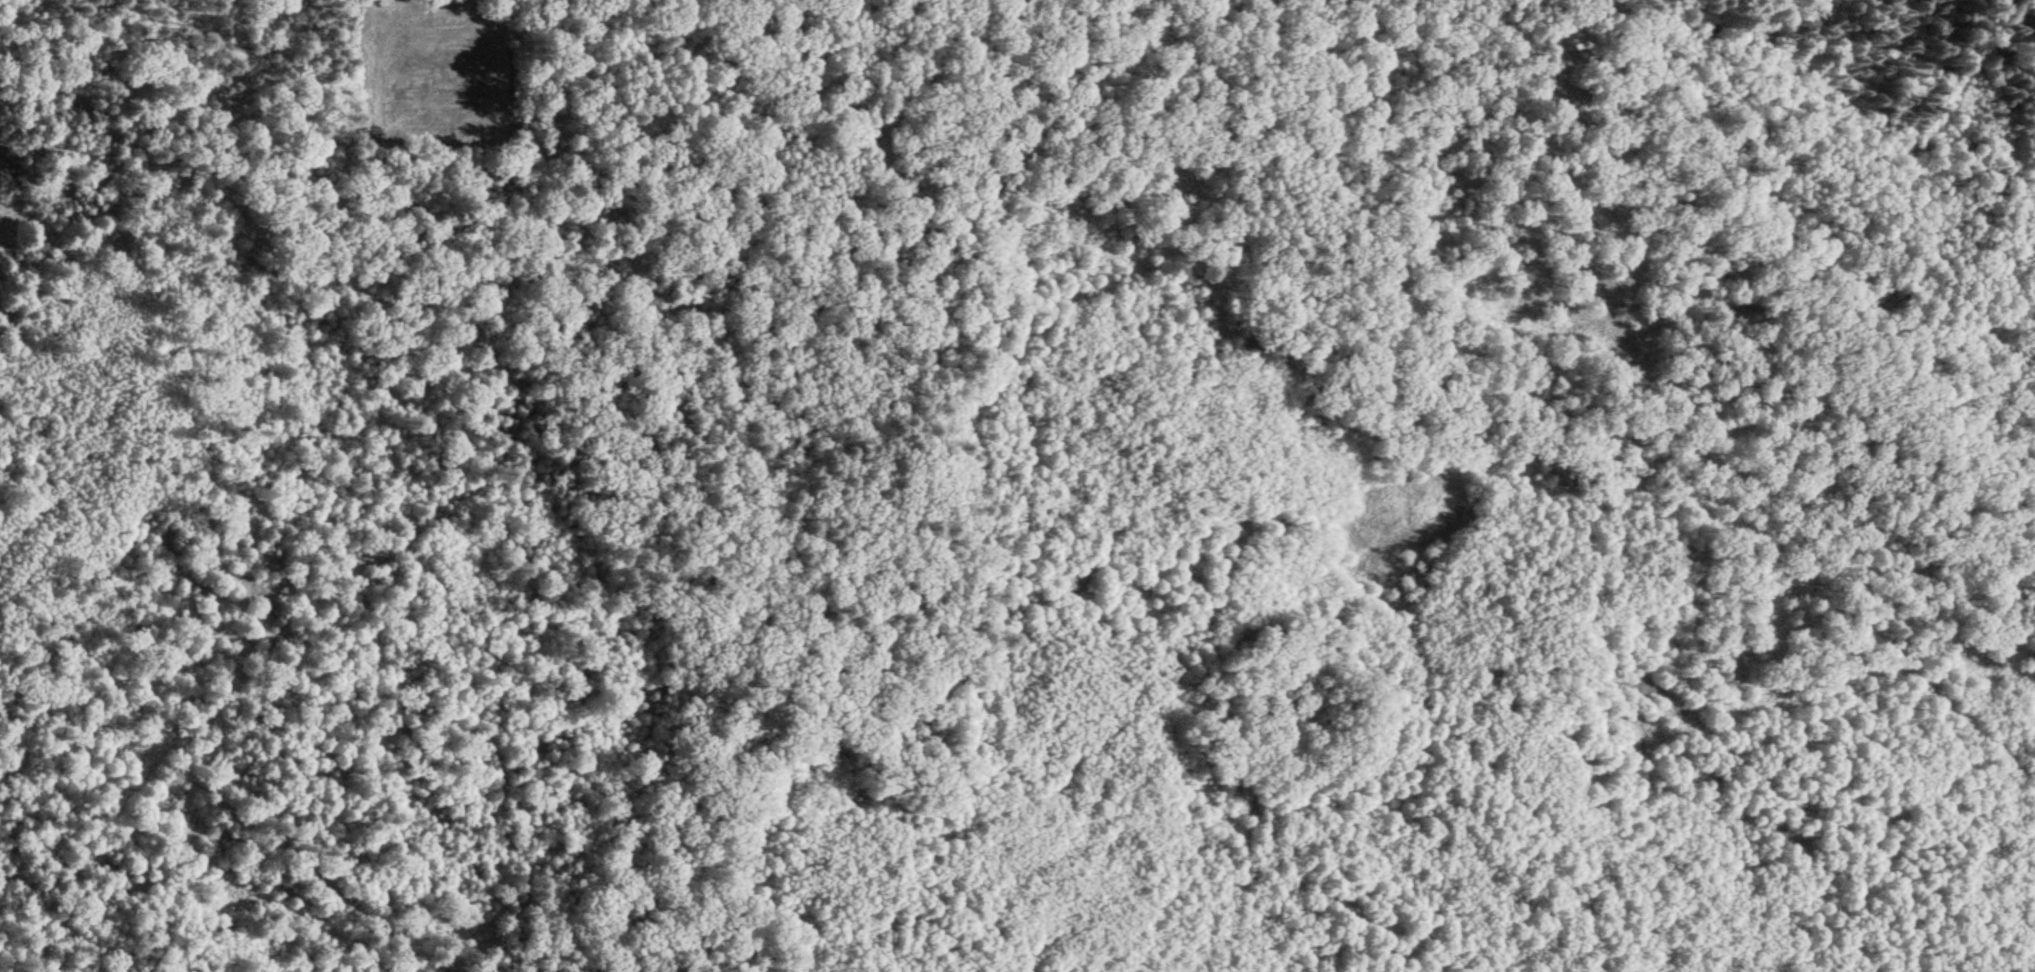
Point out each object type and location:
road: (1668, 46)
road: (1713, 46)
road: (1879, 231)

